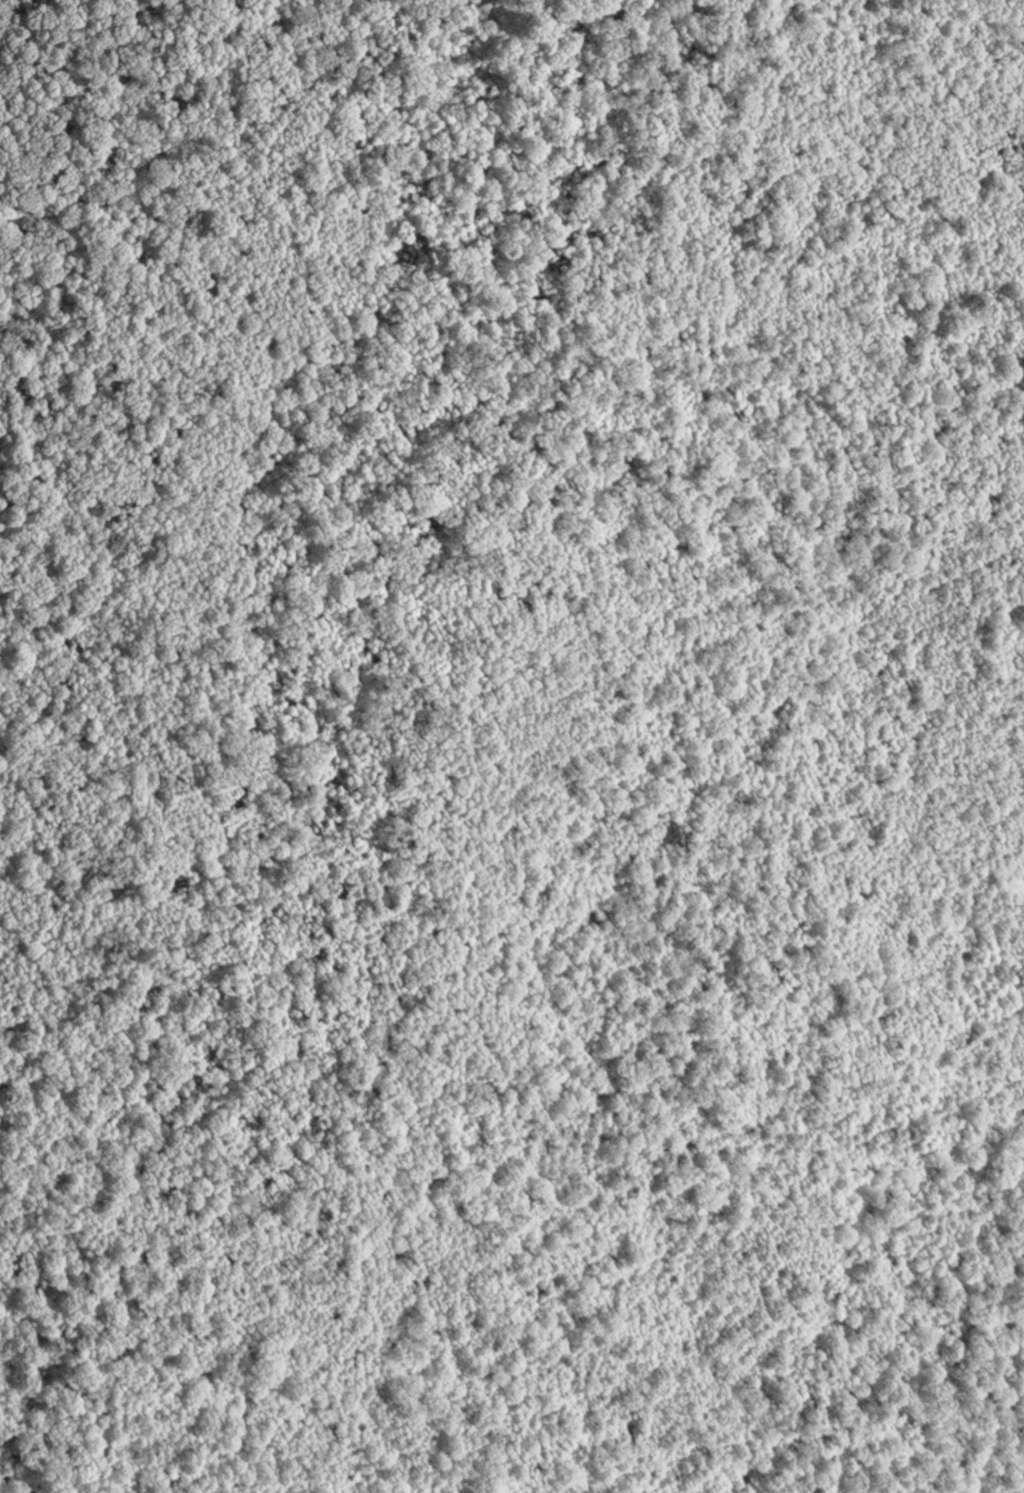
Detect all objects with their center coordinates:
road: (610, 99)
road: (386, 530)
road: (117, 1187)

